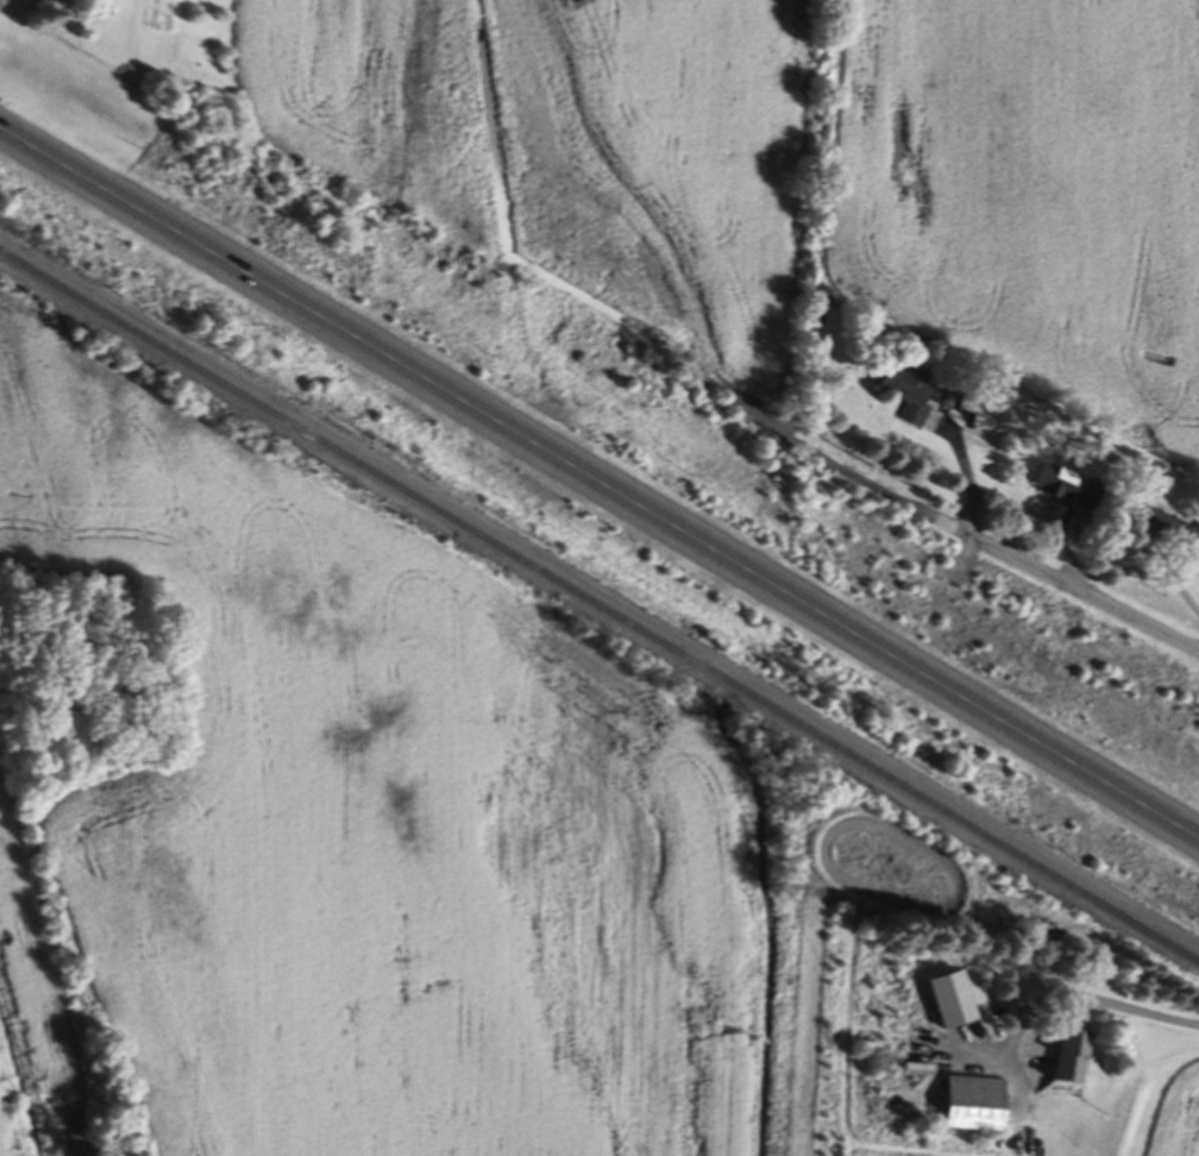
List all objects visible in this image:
building: (912, 396)
road: (599, 480)
building: (1071, 489)
building: (1163, 528)
building: (1193, 544)
road: (1050, 572)
railway: (599, 609)
road: (1092, 1001)
building: (955, 1003)
building: (1075, 1058)
building: (977, 1107)

